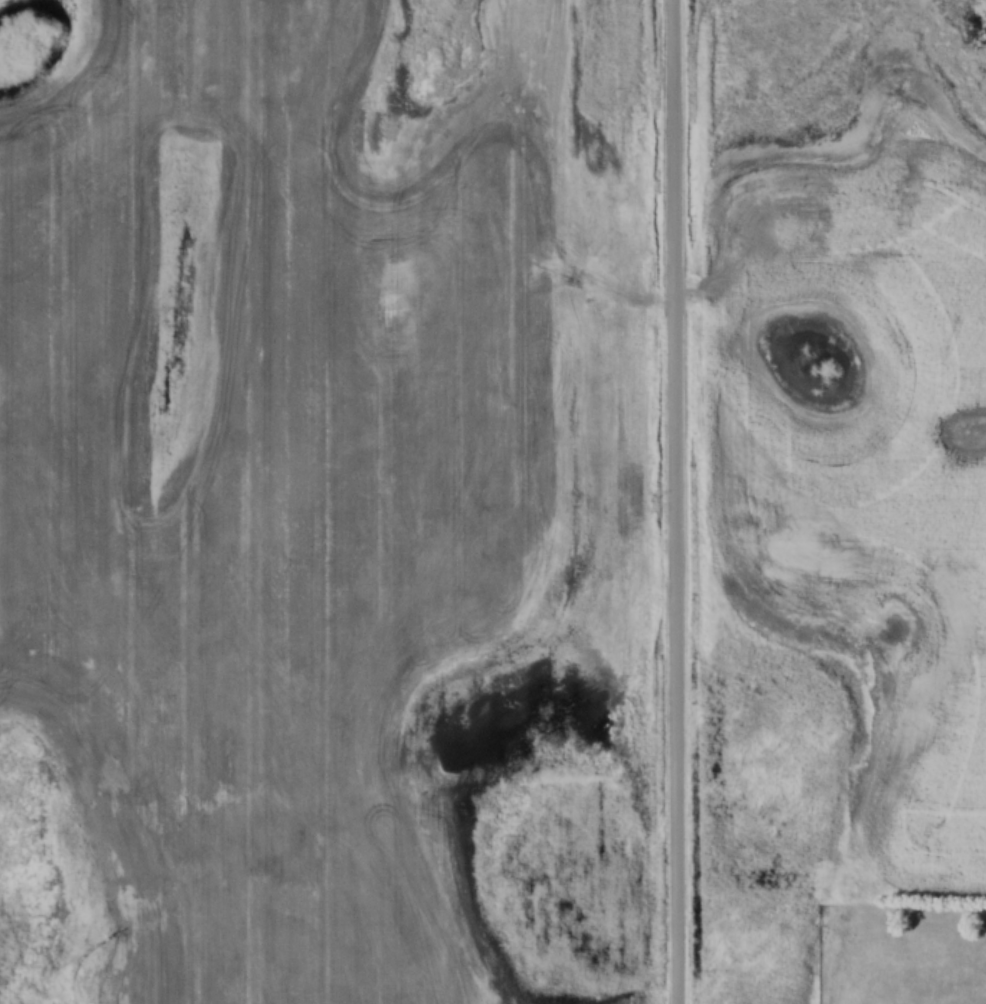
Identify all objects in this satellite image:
road: (675, 502)

